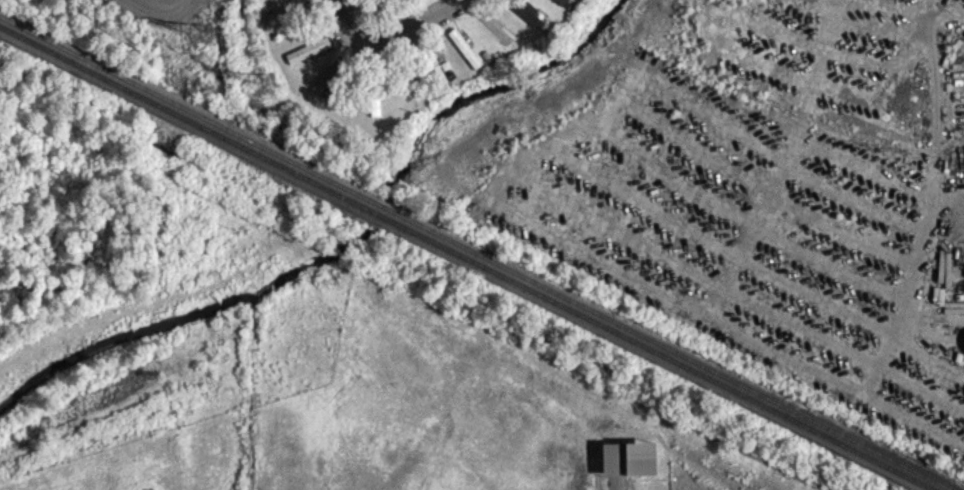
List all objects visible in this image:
building: (282, 0)
building: (558, 7)
building: (527, 21)
power tower: (203, 30)
road: (389, 39)
building: (466, 58)
building: (310, 60)
power tower: (268, 81)
building: (330, 85)
road: (588, 111)
building: (376, 116)
road: (938, 203)
railway: (478, 252)
railway: (467, 257)
road: (914, 417)
building: (630, 469)

